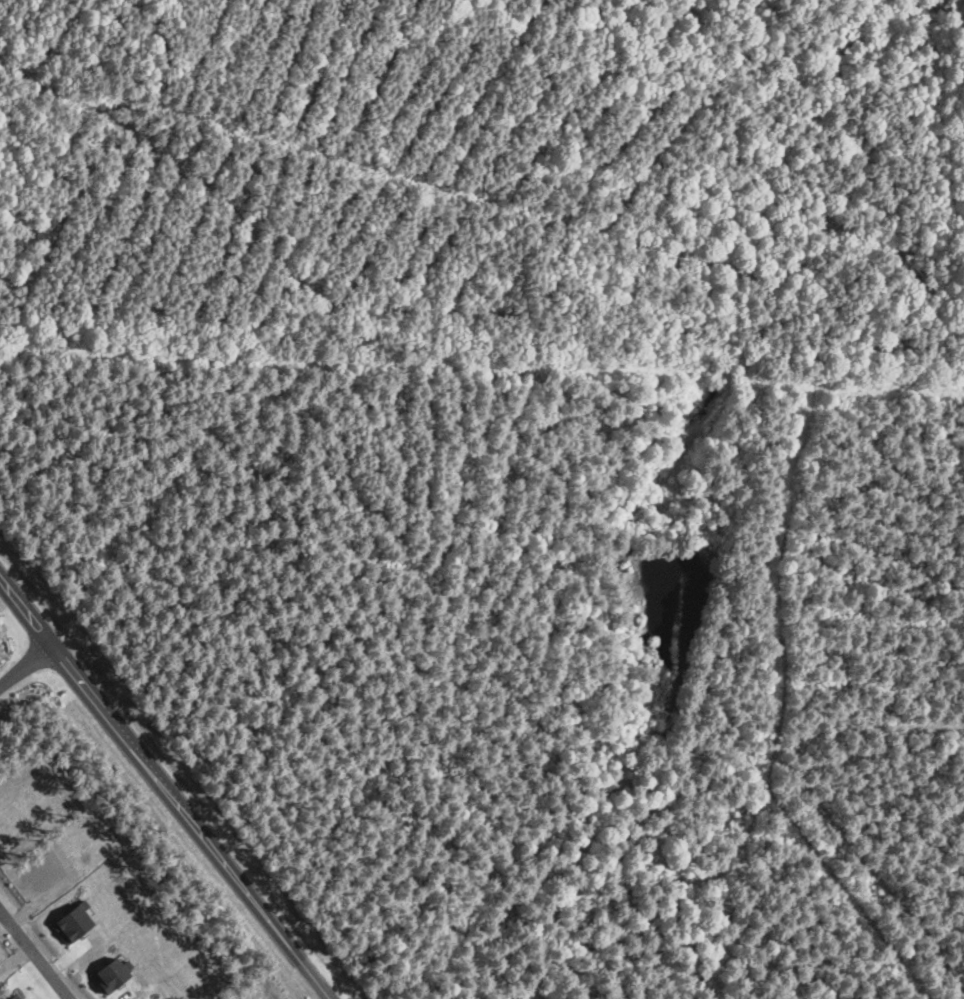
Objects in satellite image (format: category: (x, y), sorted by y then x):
road: (24, 661)
road: (164, 788)
road: (32, 956)

